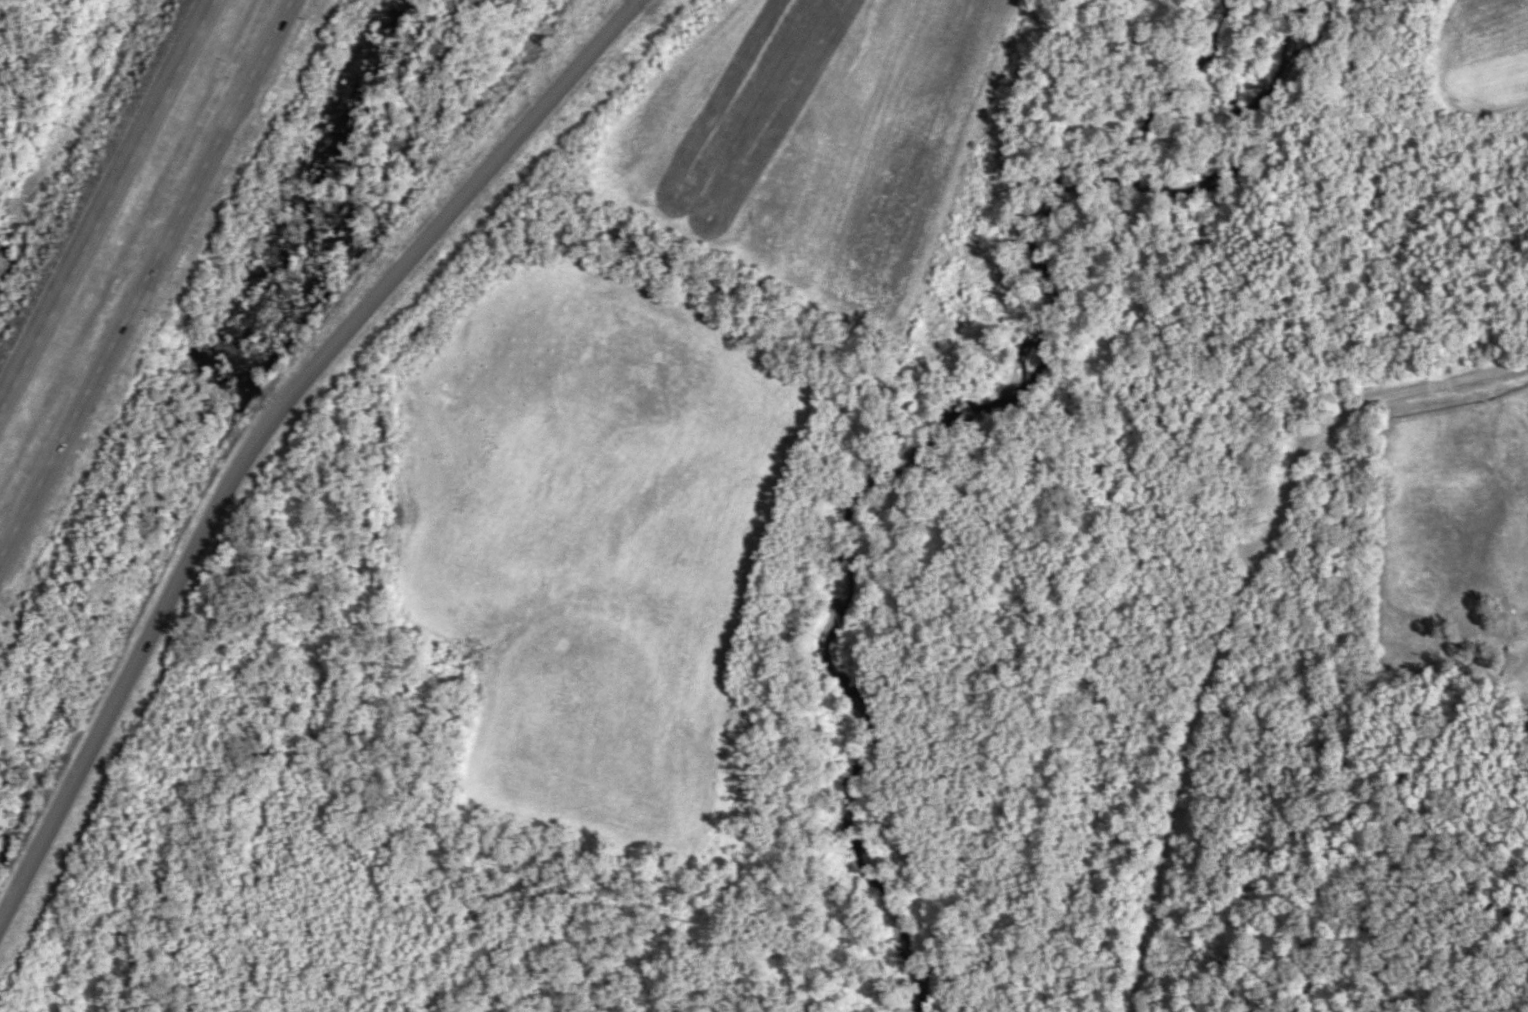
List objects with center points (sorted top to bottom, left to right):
road: (110, 211)
road: (150, 283)
road: (160, 308)
road: (1351, 406)
road: (264, 423)

